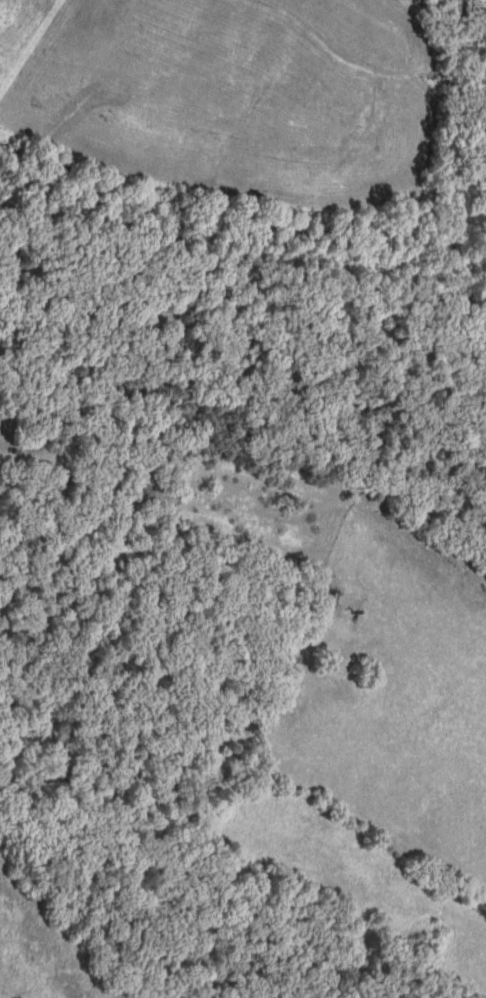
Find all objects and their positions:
building: (382, 529)
building: (412, 553)

